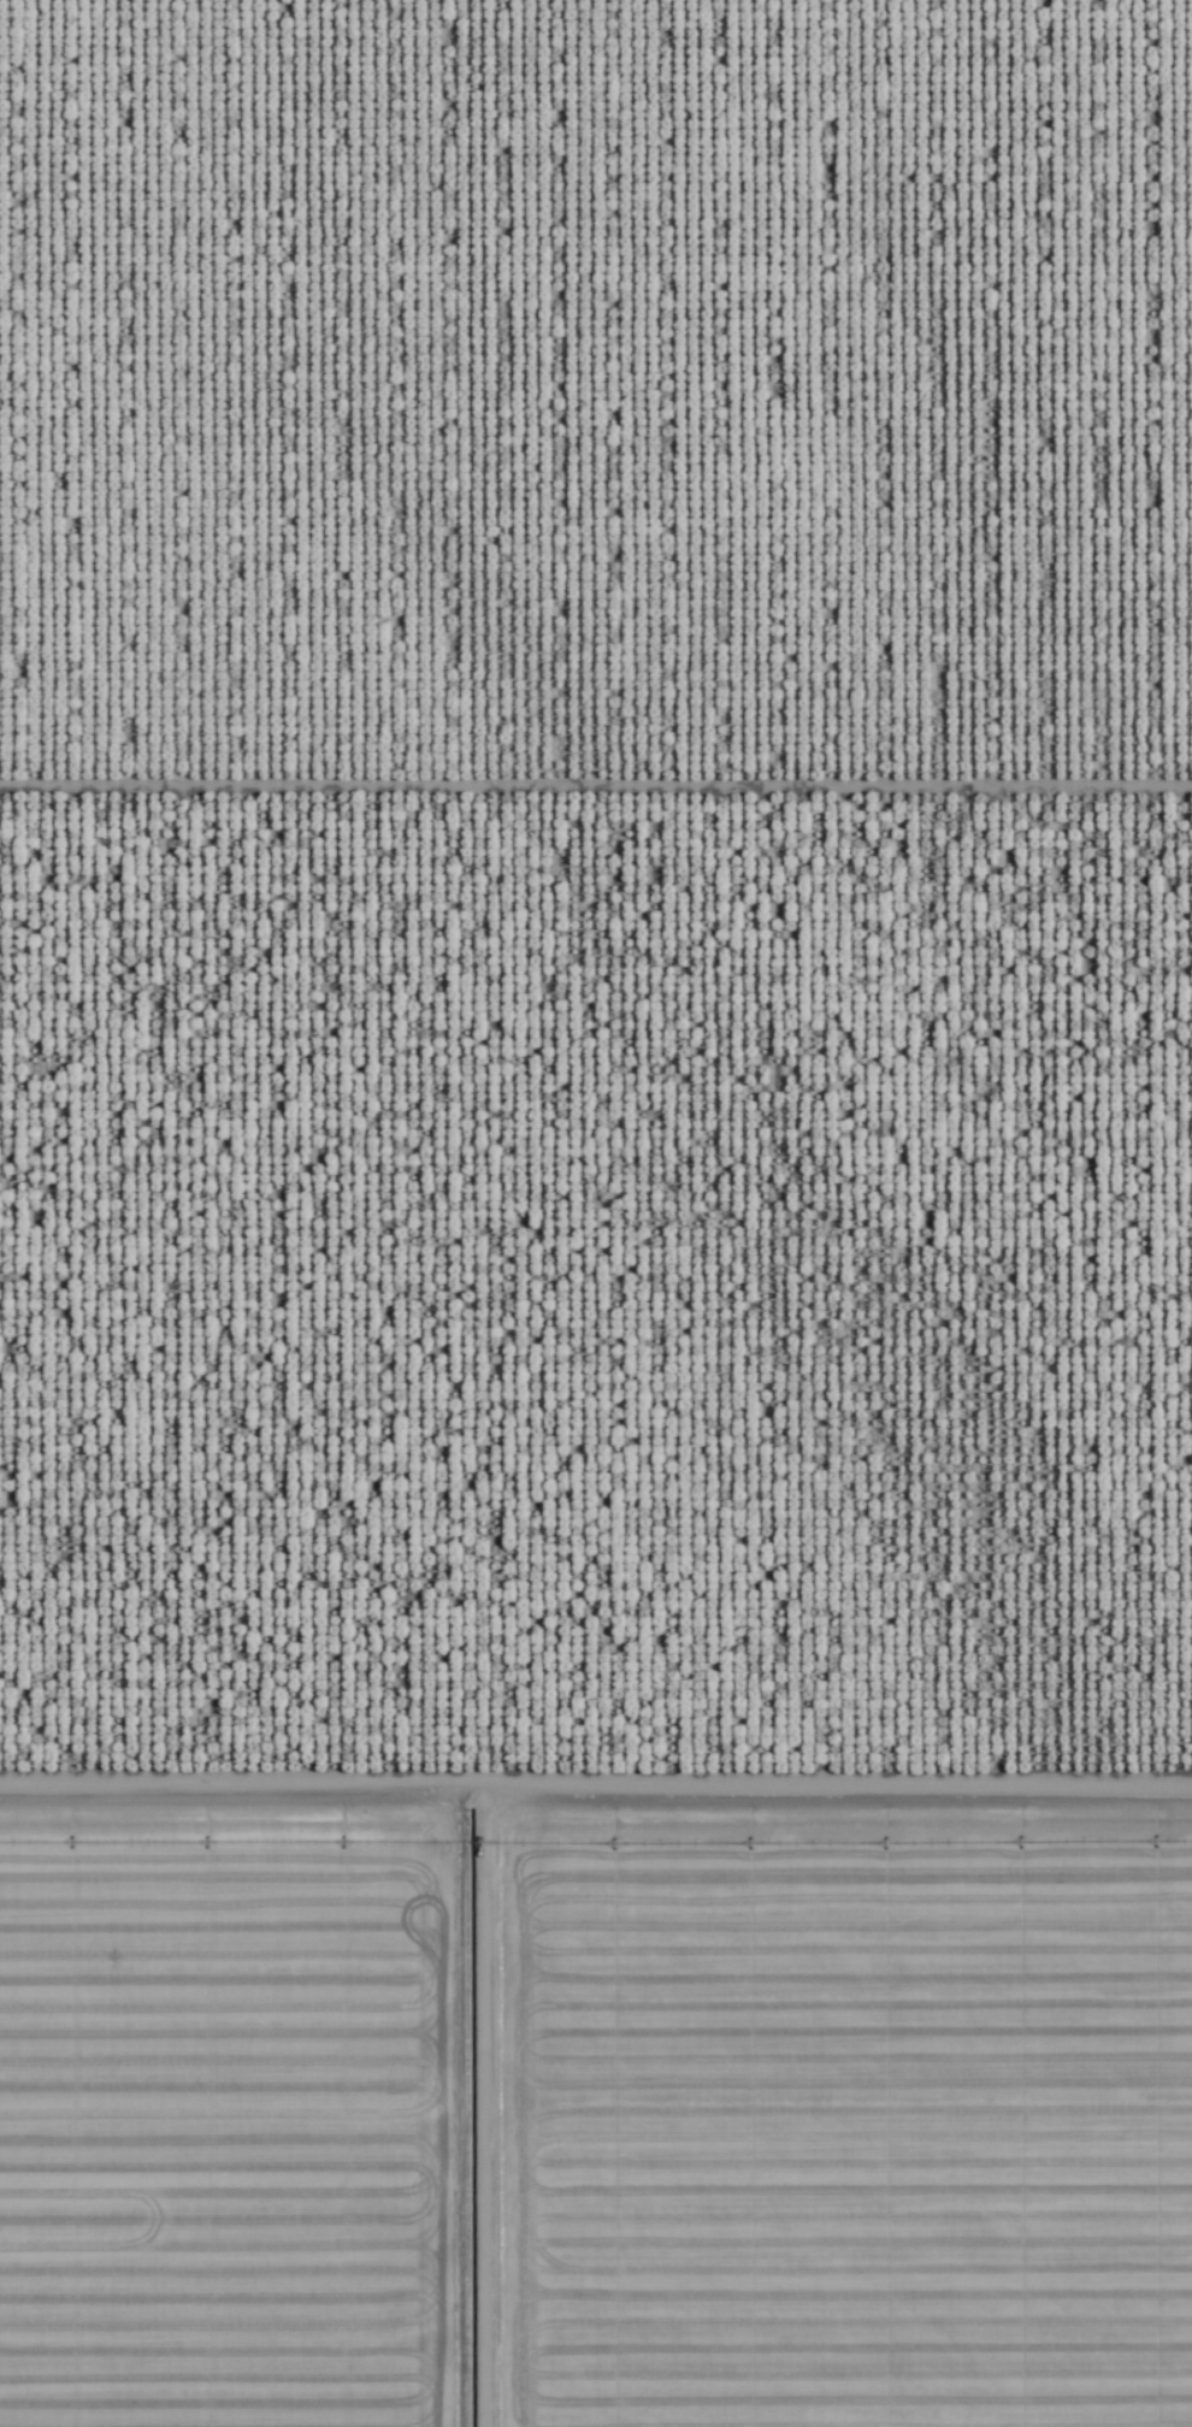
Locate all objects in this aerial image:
crop: (596, 1213)
road: (596, 1758)

